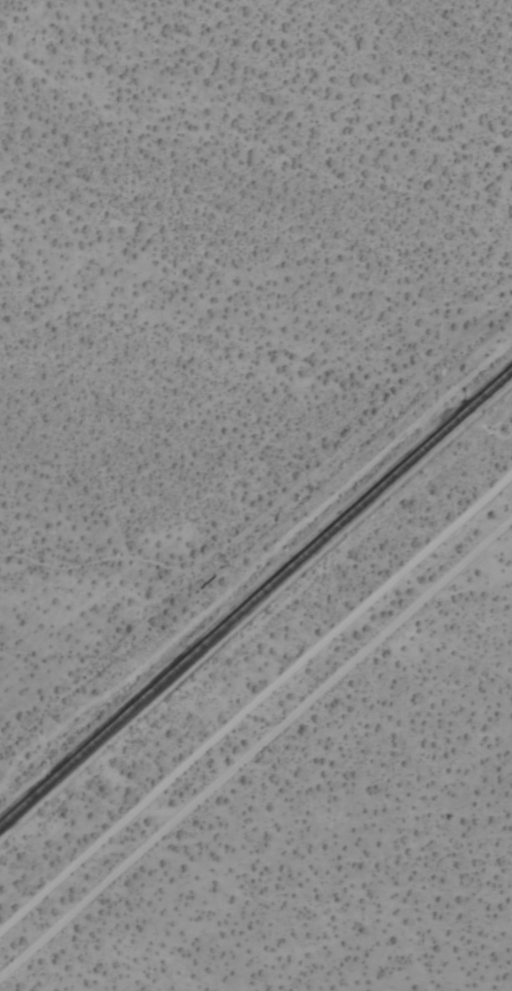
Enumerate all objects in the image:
crop: (256, 495)
railway: (256, 593)

